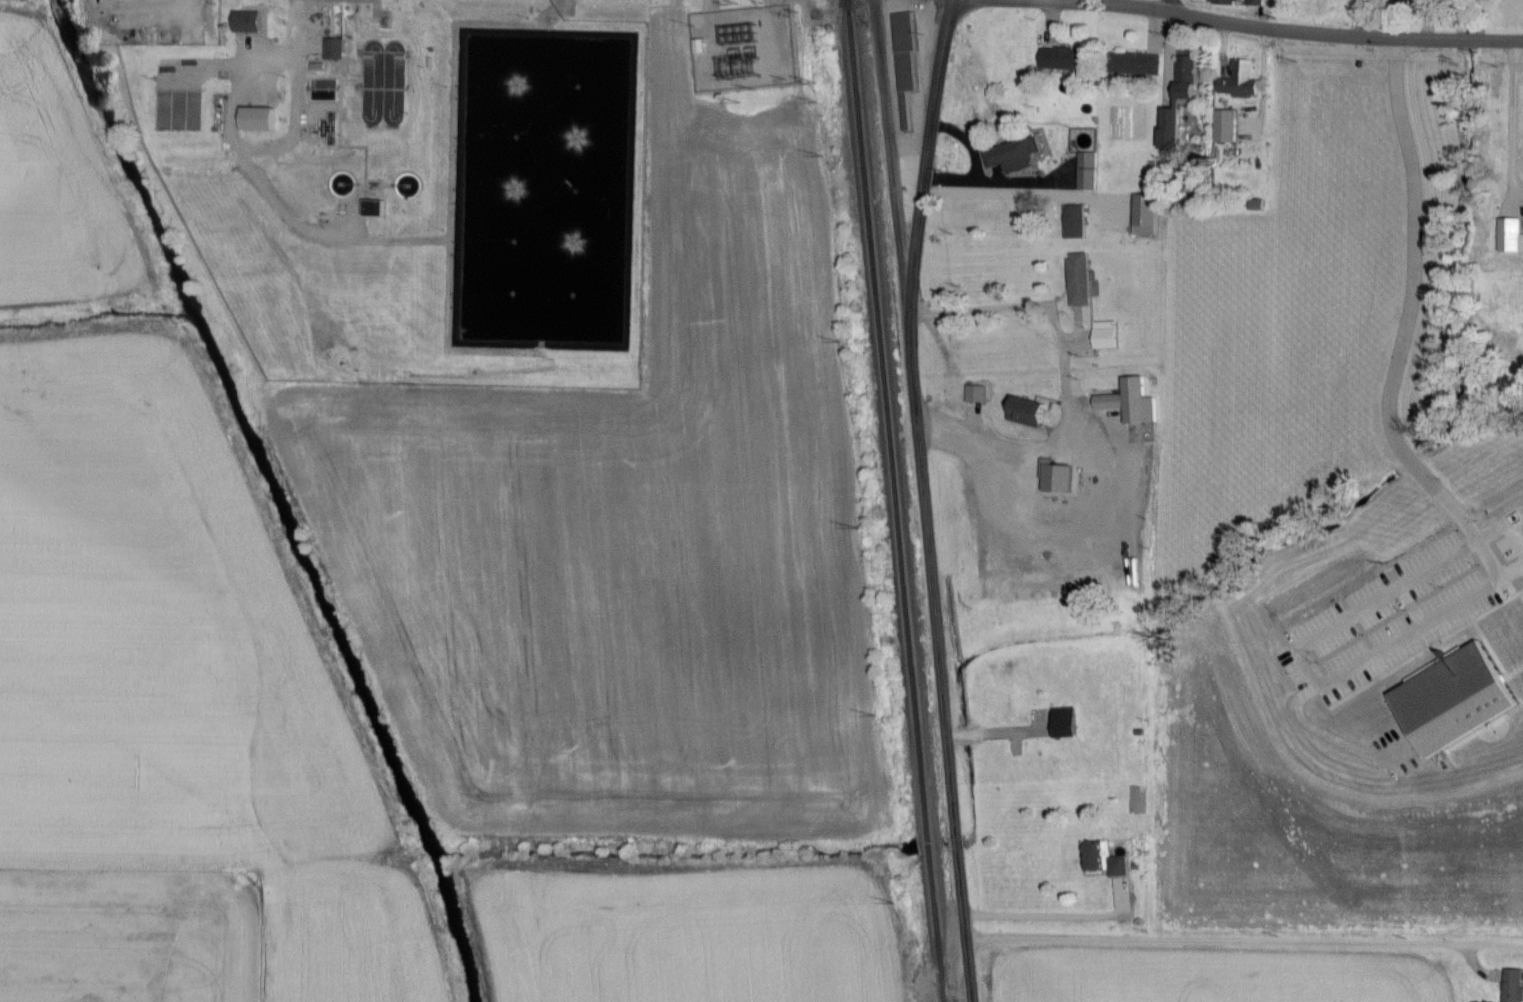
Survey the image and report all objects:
road: (1060, 0)
road: (1062, 0)
building: (1241, 3)
road: (1173, 5)
road: (1366, 18)
building: (253, 23)
road: (1314, 32)
power substation: (743, 47)
building: (1068, 60)
building: (908, 65)
building: (1138, 65)
building: (1242, 80)
building: (1190, 82)
road: (1513, 117)
building: (1228, 128)
road: (933, 133)
building: (1016, 156)
building: (1090, 173)
road: (999, 196)
building: (377, 209)
building: (1148, 216)
building: (1078, 224)
road: (1415, 249)
building: (1082, 282)
building: (1108, 336)
road: (1064, 381)
building: (1013, 388)
building: (978, 395)
building: (1133, 403)
road: (1409, 462)
building: (1060, 489)
road: (927, 499)
railway: (895, 501)
road: (1367, 661)
building: (1067, 723)
building: (1109, 860)
road: (1059, 917)
road: (1242, 943)
building: (1513, 986)

